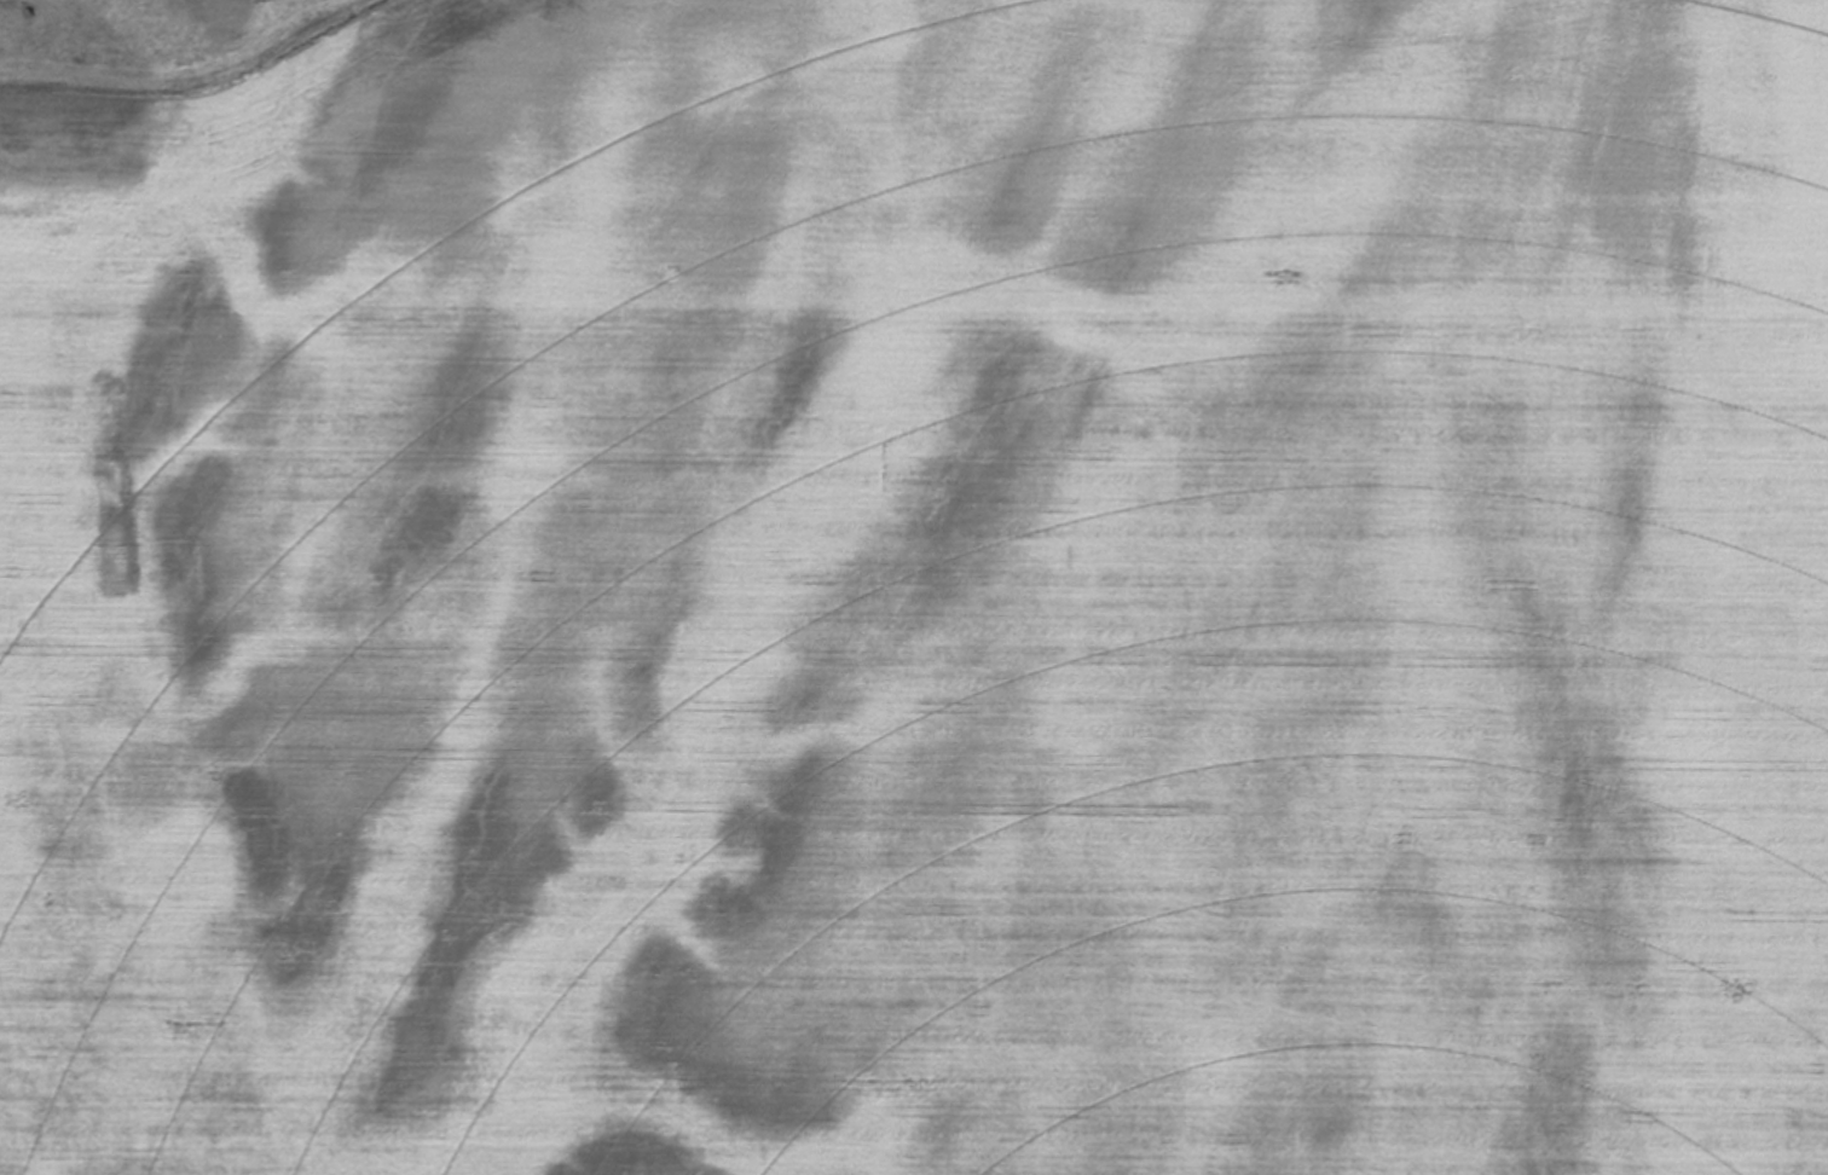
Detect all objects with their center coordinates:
crop: (914, 587)

